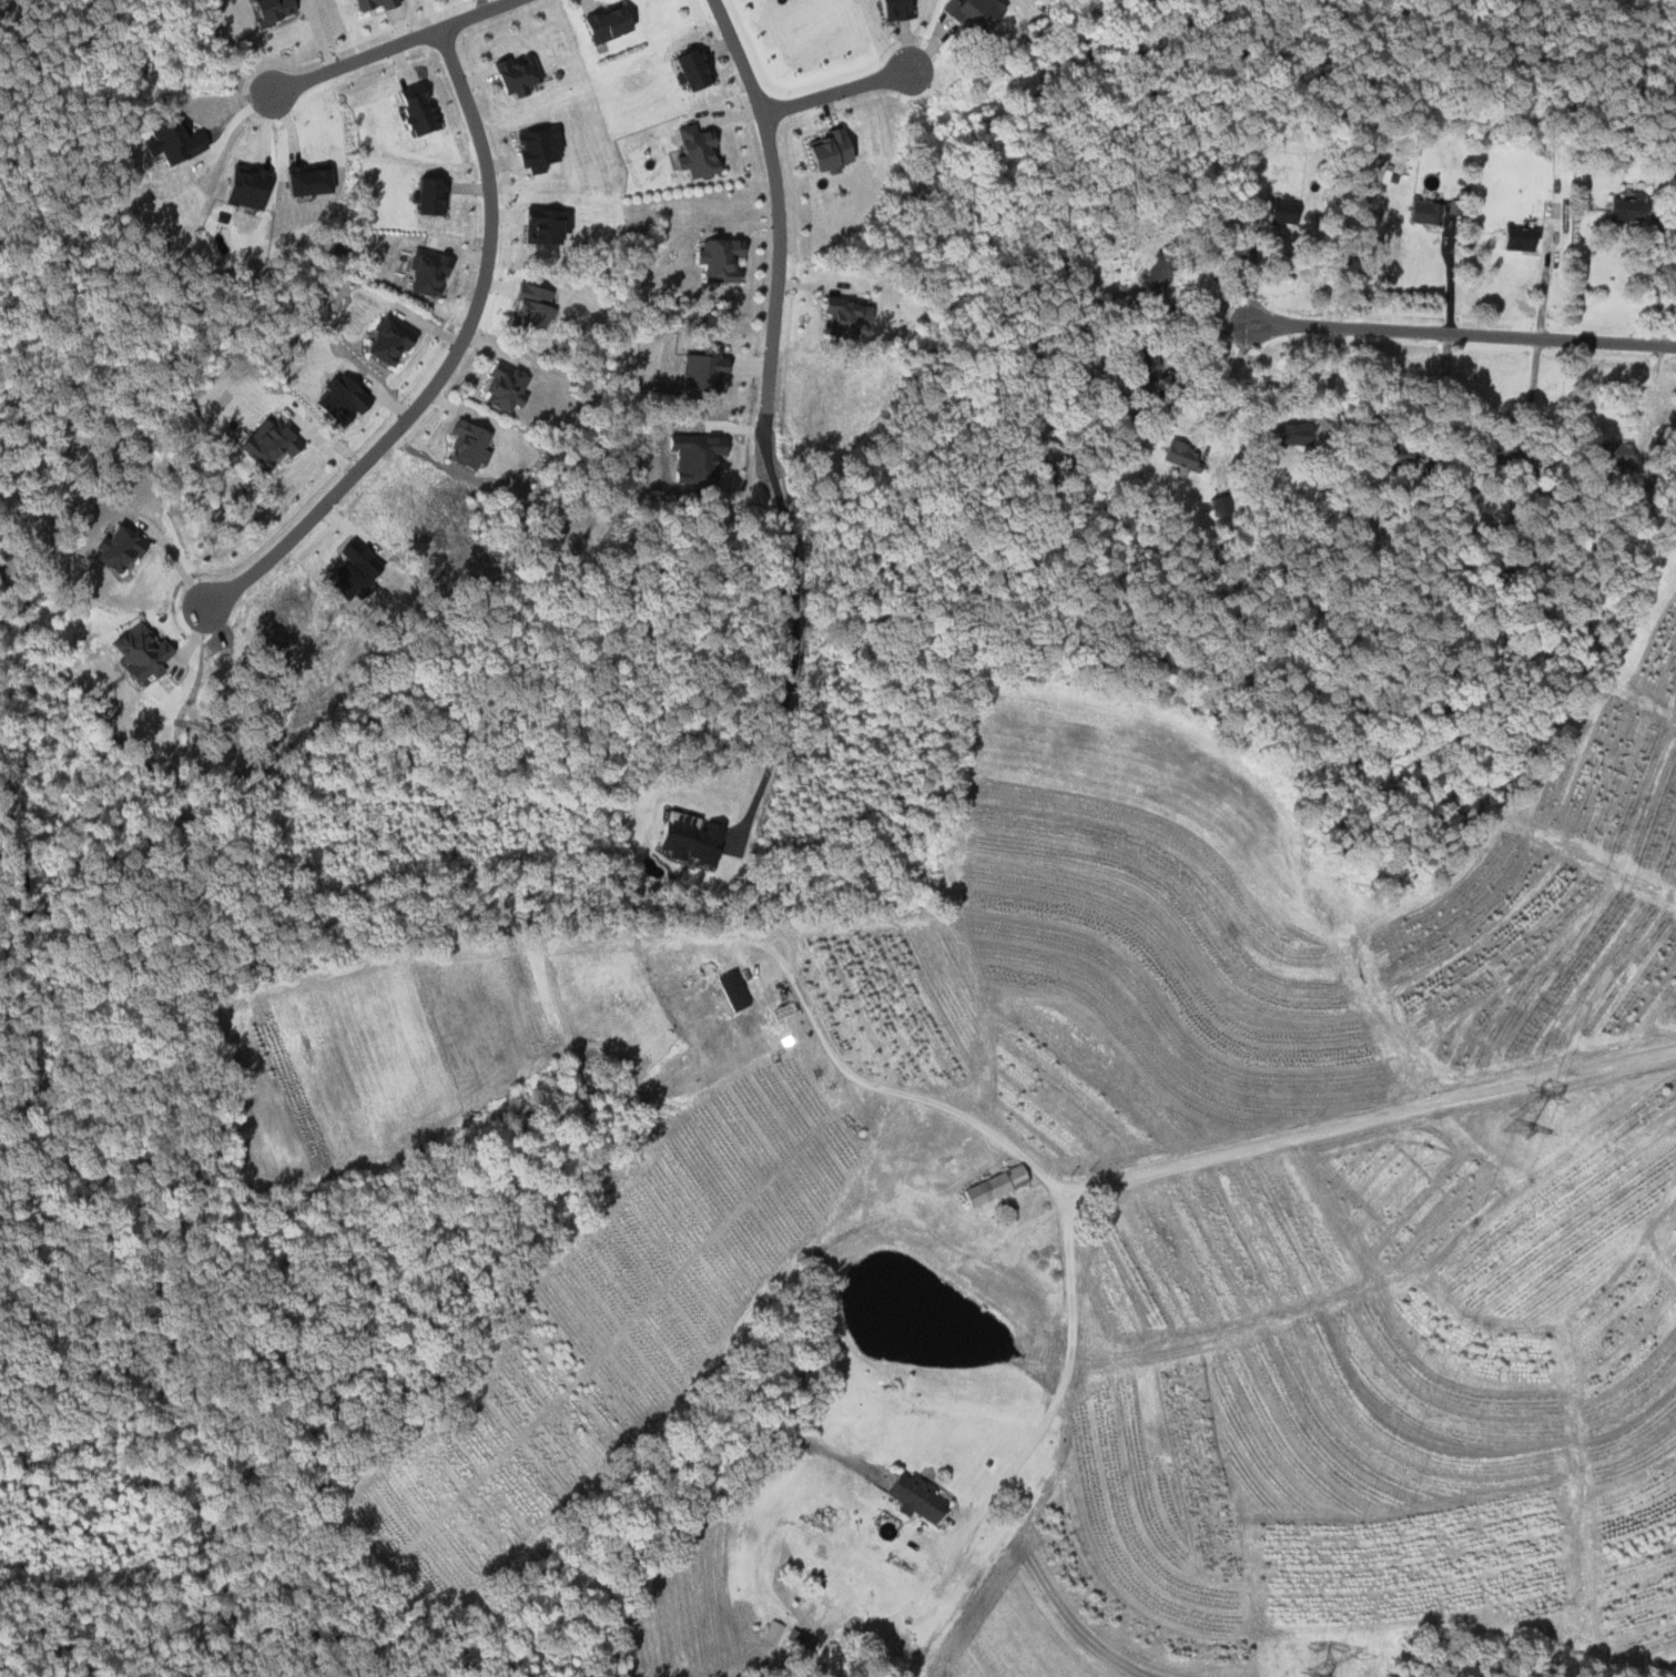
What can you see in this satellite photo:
building: (382, 4)
building: (900, 10)
building: (276, 11)
building: (979, 13)
building: (613, 23)
road: (396, 47)
building: (522, 75)
road: (833, 92)
building: (180, 142)
building: (545, 148)
building: (836, 150)
building: (702, 152)
building: (317, 181)
building: (252, 187)
building: (438, 197)
building: (1623, 209)
building: (1421, 212)
building: (550, 226)
road: (775, 232)
building: (1516, 238)
building: (727, 261)
road: (1250, 265)
road: (1450, 275)
road: (1544, 278)
road: (1656, 294)
road: (1196, 312)
building: (851, 317)
road: (1462, 335)
building: (395, 342)
road: (1202, 346)
road: (448, 364)
building: (709, 370)
road: (1231, 382)
road: (1332, 386)
building: (510, 387)
road: (1532, 396)
road: (1435, 431)
building: (1294, 434)
building: (276, 444)
building: (474, 445)
building: (1609, 453)
building: (1178, 456)
building: (124, 550)
road: (179, 565)
building: (146, 652)
road: (786, 657)
building: (739, 989)
road: (914, 1095)
road: (1389, 1116)
power tower: (1514, 1126)
building: (1002, 1185)
road: (1067, 1376)
building: (921, 1497)
building: (776, 1630)
building: (839, 1650)

